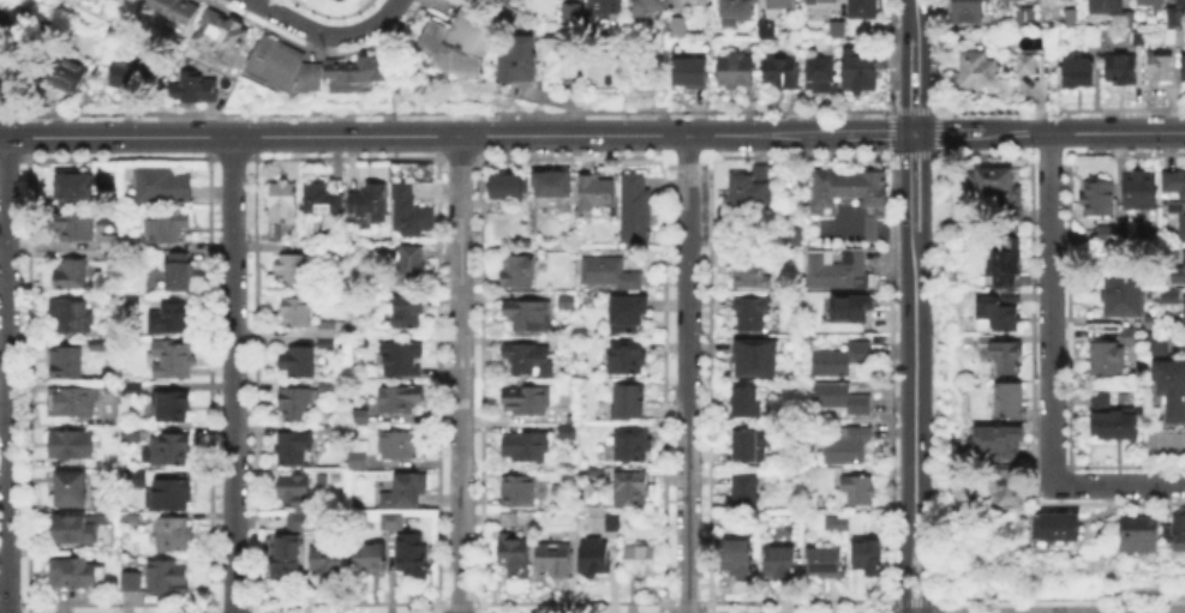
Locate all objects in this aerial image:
building: (824, 0)
building: (1180, 2)
building: (783, 4)
building: (1009, 4)
building: (1153, 4)
building: (610, 6)
building: (652, 6)
building: (1107, 6)
building: (179, 10)
building: (736, 10)
building: (864, 10)
building: (571, 11)
building: (968, 11)
building: (1130, 16)
building: (1172, 16)
road: (912, 18)
building: (1024, 18)
building: (1070, 19)
building: (2, 23)
building: (682, 26)
building: (766, 30)
building: (839, 31)
road: (325, 34)
building: (222, 35)
building: (1094, 36)
building: (1136, 37)
building: (1174, 37)
building: (457, 42)
building: (562, 59)
building: (519, 61)
building: (1029, 64)
building: (289, 66)
building: (360, 68)
building: (736, 68)
building: (978, 70)
building: (1184, 70)
building: (687, 71)
building: (821, 71)
building: (1121, 71)
building: (1160, 71)
building: (64, 72)
building: (861, 72)
building: (124, 73)
building: (782, 73)
building: (1079, 76)
road: (912, 84)
building: (192, 90)
road: (73, 125)
road: (1081, 132)
road: (879, 133)
traffic signals: (914, 133)
road: (945, 133)
road: (423, 136)
road: (914, 181)
building: (553, 184)
building: (1174, 184)
building: (74, 186)
building: (163, 186)
building: (753, 186)
building: (1000, 188)
building: (508, 190)
building: (594, 190)
building: (1139, 191)
building: (854, 194)
building: (323, 198)
building: (282, 199)
building: (369, 200)
building: (1100, 200)
building: (635, 209)
building: (1175, 209)
building: (411, 211)
building: (166, 226)
building: (1180, 226)
building: (73, 227)
building: (285, 228)
building: (1105, 232)
building: (795, 235)
building: (112, 244)
building: (309, 245)
building: (1171, 248)
building: (413, 262)
building: (1003, 264)
building: (1183, 265)
building: (600, 269)
building: (292, 270)
building: (839, 270)
building: (750, 271)
building: (181, 272)
building: (519, 272)
building: (71, 275)
building: (630, 283)
building: (1169, 294)
building: (1125, 296)
building: (588, 304)
building: (565, 305)
building: (849, 307)
road: (1049, 311)
building: (409, 313)
building: (1003, 313)
building: (295, 314)
building: (627, 314)
building: (752, 314)
building: (70, 315)
building: (527, 317)
building: (1184, 318)
building: (172, 319)
building: (1153, 320)
building: (327, 329)
building: (1126, 335)
building: (97, 343)
building: (327, 343)
building: (1159, 344)
building: (564, 348)
building: (753, 355)
building: (626, 357)
building: (1007, 357)
building: (400, 359)
building: (527, 360)
building: (1108, 360)
building: (173, 361)
building: (299, 362)
building: (842, 362)
building: (66, 363)
road: (460, 373)
road: (5, 374)
road: (232, 374)
road: (687, 374)
road: (914, 379)
building: (1172, 387)
building: (327, 389)
building: (133, 390)
building: (1101, 397)
building: (399, 399)
building: (843, 399)
building: (293, 402)
building: (629, 402)
building: (1010, 402)
building: (72, 403)
building: (527, 403)
building: (746, 403)
building: (170, 407)
building: (360, 414)
building: (1115, 425)
building: (567, 433)
building: (131, 435)
building: (1000, 443)
building: (399, 444)
building: (629, 444)
building: (71, 445)
building: (753, 445)
building: (849, 445)
building: (295, 449)
building: (526, 449)
building: (172, 450)
building: (360, 451)
building: (586, 470)
building: (1010, 480)
building: (138, 481)
road: (1123, 483)
building: (409, 488)
building: (746, 489)
building: (72, 491)
building: (294, 491)
building: (519, 491)
building: (632, 491)
building: (857, 491)
building: (172, 495)
building: (100, 499)
building: (388, 499)
building: (391, 519)
building: (507, 519)
building: (130, 521)
building: (301, 522)
building: (851, 523)
building: (606, 524)
building: (1034, 525)
building: (79, 529)
building: (1057, 530)
building: (1136, 531)
building: (1179, 534)
building: (173, 536)
building: (411, 552)
building: (286, 557)
building: (596, 557)
building: (737, 557)
building: (867, 557)
building: (514, 558)
building: (555, 558)
building: (328, 560)
building: (371, 560)
building: (642, 560)
building: (780, 561)
building: (826, 563)
road: (904, 571)
road: (924, 571)
building: (73, 573)
building: (169, 577)
building: (132, 583)

